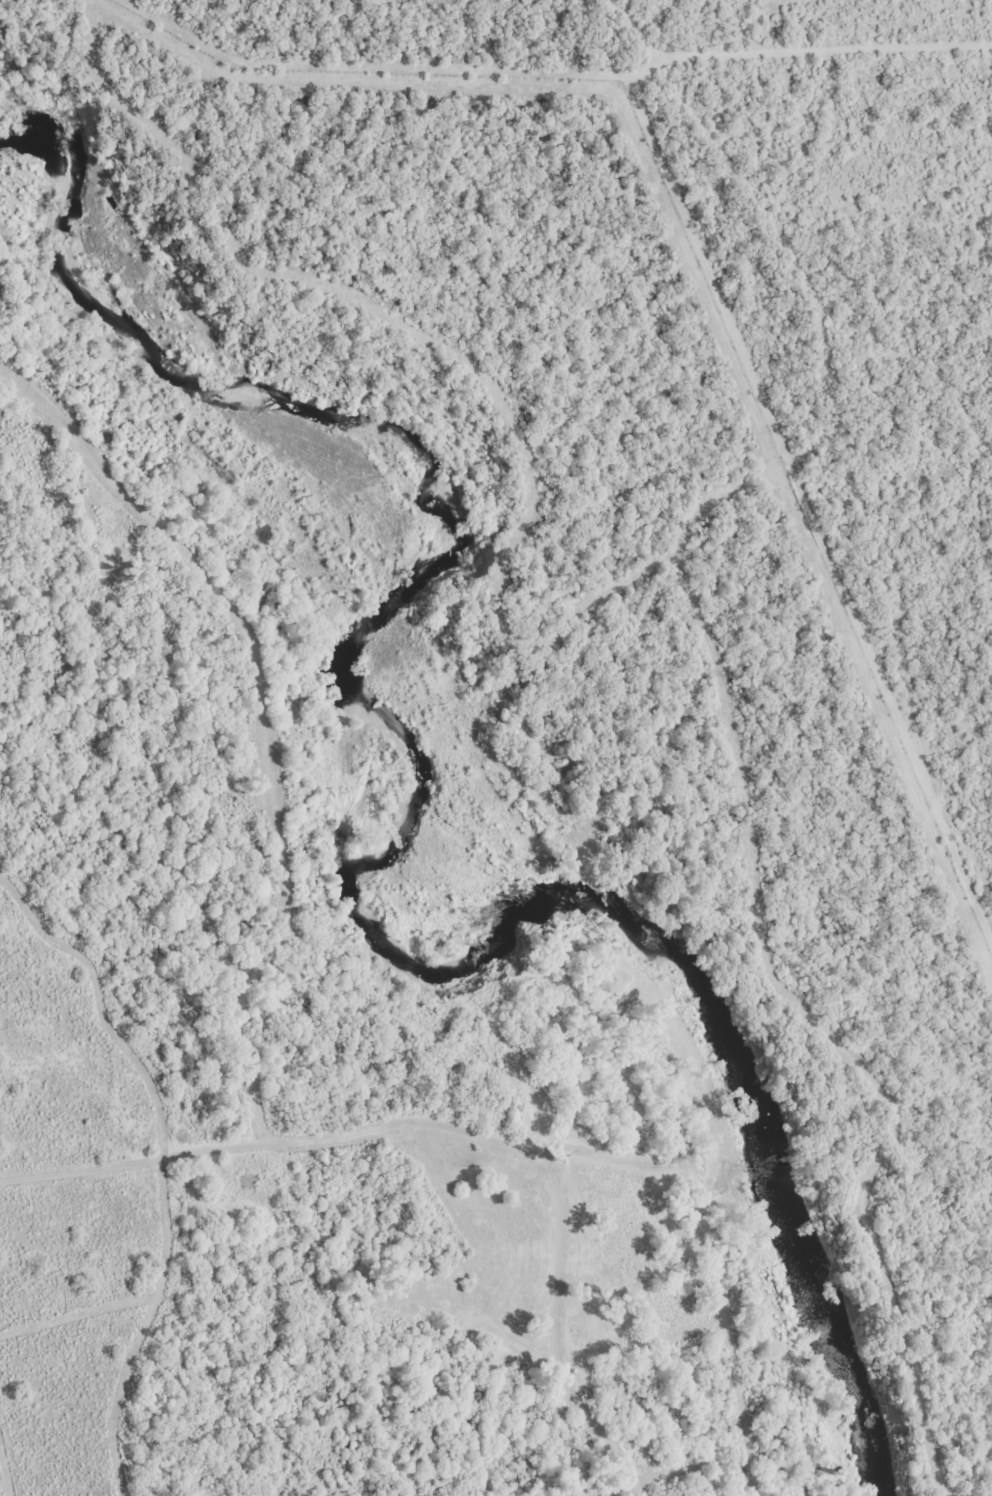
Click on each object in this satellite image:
road: (940, 424)
road: (855, 458)
river: (419, 780)
road: (441, 979)
road: (264, 1143)

